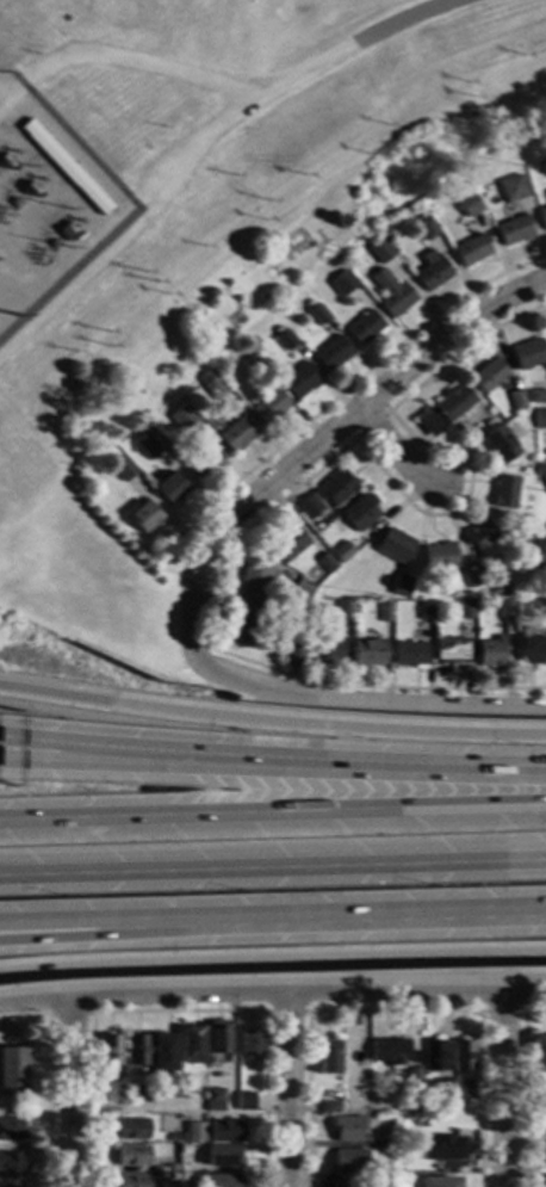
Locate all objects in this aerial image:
road: (248, 80)
building: (64, 166)
building: (511, 188)
building: (469, 205)
power substation: (48, 209)
building: (542, 217)
building: (426, 228)
building: (513, 231)
building: (471, 251)
building: (381, 252)
building: (341, 270)
building: (432, 271)
building: (346, 284)
building: (392, 293)
building: (318, 314)
power tower: (20, 317)
building: (364, 327)
building: (278, 330)
building: (286, 339)
building: (333, 354)
building: (528, 354)
building: (254, 365)
building: (210, 373)
building: (488, 375)
building: (300, 381)
road: (352, 382)
building: (216, 388)
building: (536, 397)
building: (516, 400)
building: (268, 407)
building: (445, 409)
road: (386, 410)
building: (182, 418)
building: (539, 419)
building: (237, 434)
road: (321, 440)
building: (154, 444)
building: (498, 445)
road: (391, 451)
building: (203, 458)
building: (124, 469)
building: (539, 469)
road: (300, 482)
building: (170, 487)
building: (334, 488)
building: (505, 493)
building: (309, 507)
building: (359, 512)
building: (144, 515)
building: (479, 534)
building: (522, 536)
building: (287, 543)
building: (392, 546)
building: (341, 552)
building: (536, 552)
building: (438, 557)
building: (324, 563)
building: (470, 577)
building: (254, 580)
building: (399, 586)
building: (302, 587)
building: (538, 607)
building: (465, 608)
building: (505, 608)
building: (341, 610)
building: (383, 611)
building: (424, 611)
building: (293, 619)
building: (248, 624)
building: (529, 647)
building: (451, 650)
building: (324, 651)
building: (367, 651)
building: (489, 651)
building: (409, 654)
building: (294, 656)
road: (366, 703)
road: (272, 722)
road: (72, 748)
road: (70, 761)
road: (343, 765)
road: (273, 814)
road: (273, 868)
road: (353, 916)
road: (80, 923)
road: (80, 932)
road: (272, 958)
road: (479, 971)
road: (272, 989)
road: (69, 1010)
road: (176, 1010)
road: (285, 1012)
road: (393, 1013)
road: (501, 1013)
building: (217, 1041)
building: (249, 1043)
building: (192, 1045)
building: (110, 1050)
building: (136, 1051)
building: (389, 1051)
building: (163, 1052)
building: (329, 1053)
building: (352, 1055)
building: (433, 1055)
building: (539, 1055)
building: (463, 1057)
building: (13, 1071)
building: (411, 1078)
building: (365, 1080)
road: (68, 1088)
road: (288, 1088)
building: (442, 1088)
road: (507, 1088)
road: (523, 1088)
building: (156, 1089)
building: (461, 1089)
building: (112, 1092)
building: (129, 1096)
road: (48, 1100)
building: (213, 1100)
building: (540, 1105)
building: (330, 1107)
road: (132, 1108)
building: (415, 1108)
building: (132, 1129)
building: (347, 1129)
building: (13, 1130)
building: (224, 1131)
building: (545, 1131)
building: (194, 1132)
building: (173, 1138)
building: (193, 1148)
building: (443, 1150)
building: (132, 1155)
building: (222, 1156)
building: (407, 1161)
building: (349, 1162)
building: (11, 1167)
building: (172, 1168)
building: (385, 1169)
building: (132, 1181)
building: (221, 1181)
building: (440, 1181)
building: (168, 1183)

